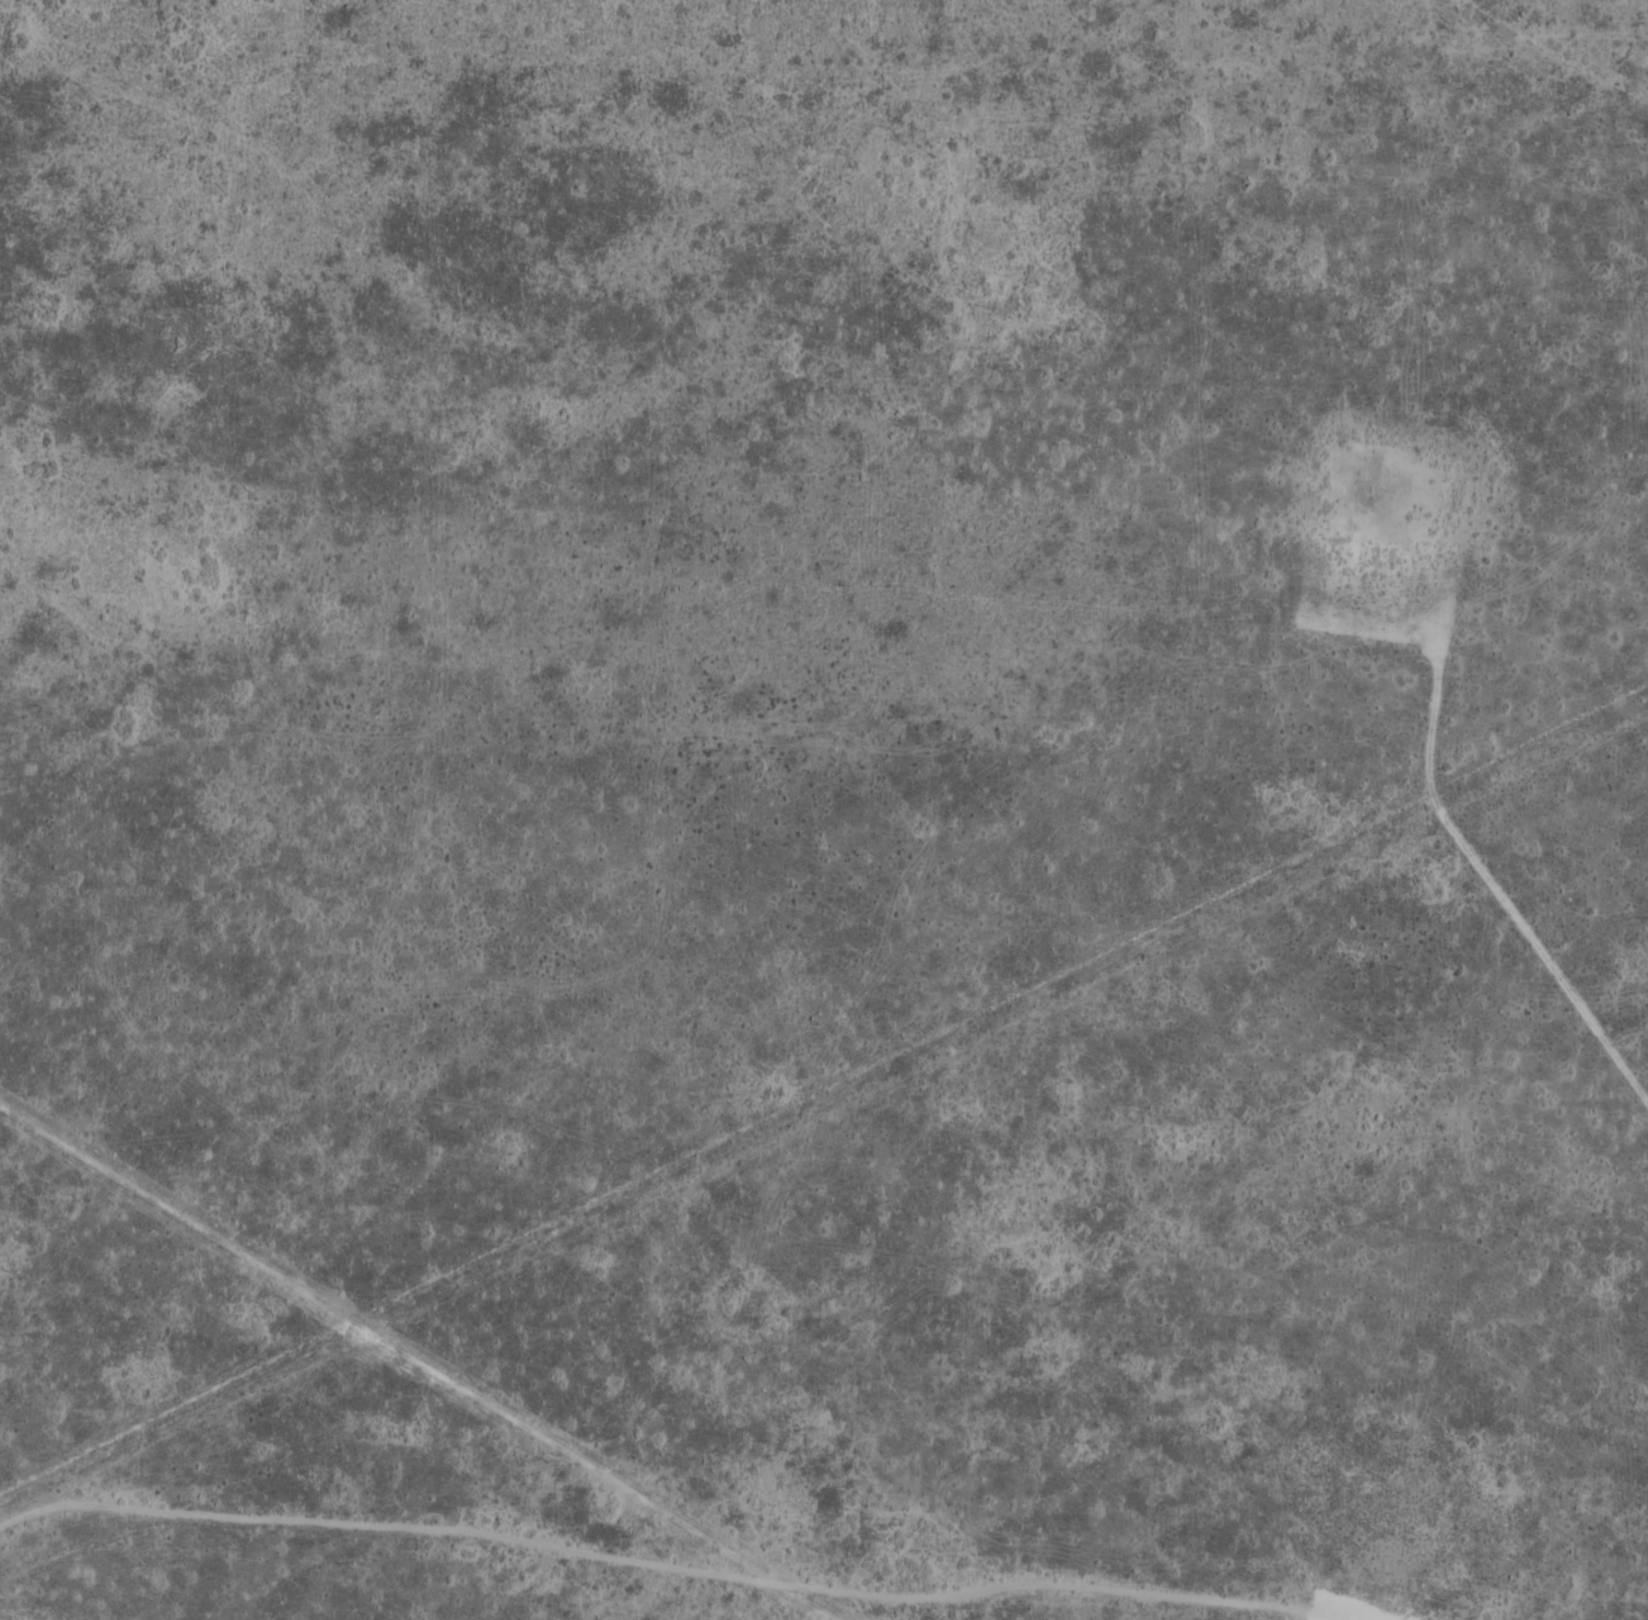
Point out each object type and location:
road: (672, 1558)

